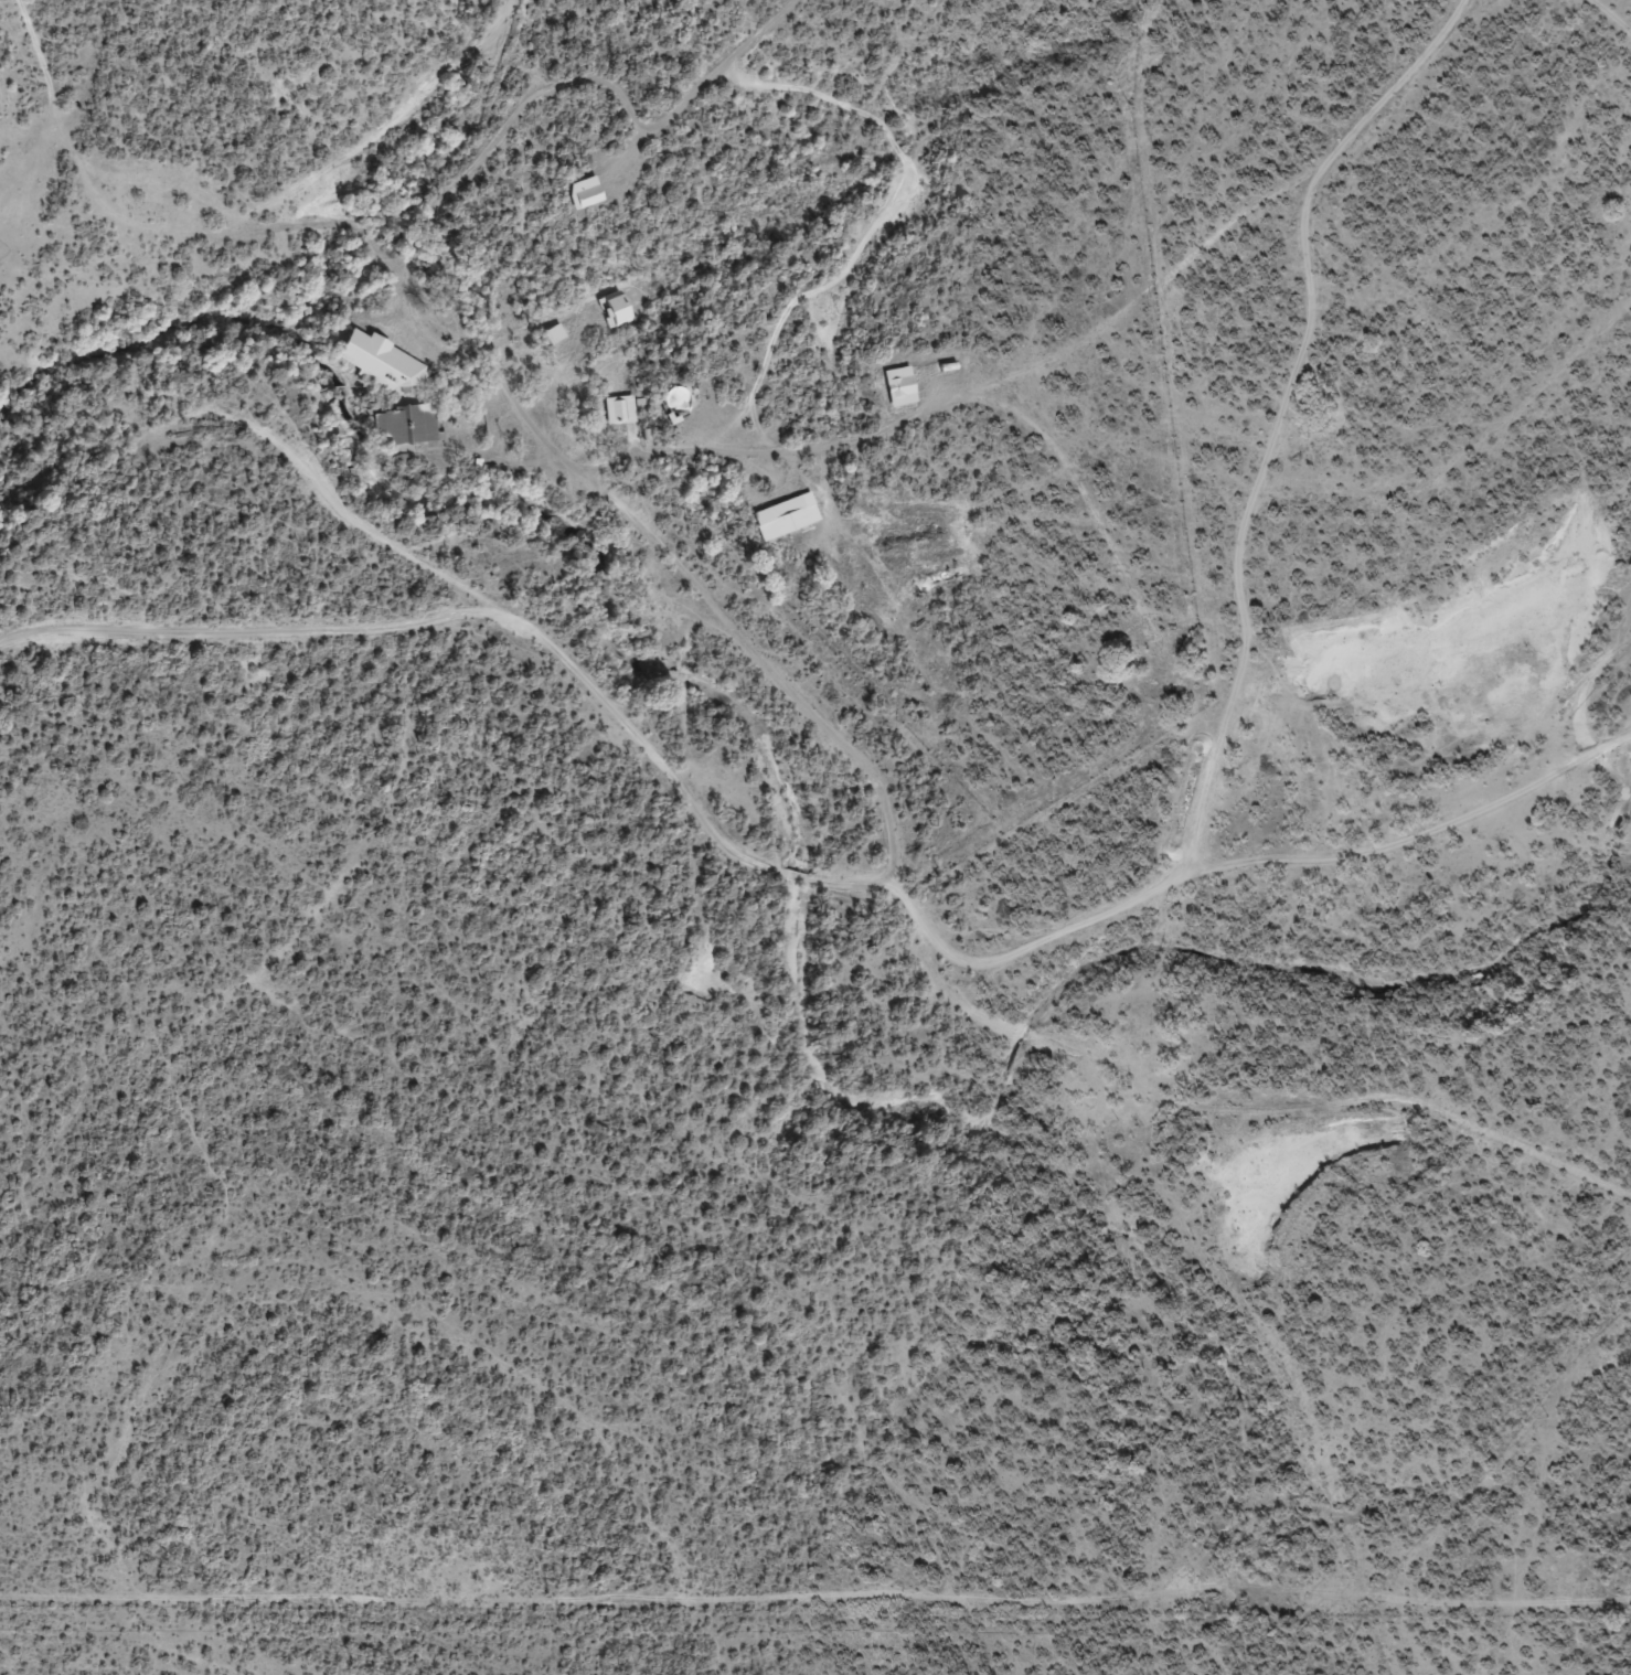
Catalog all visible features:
road: (1617, 9)
building: (580, 191)
building: (611, 309)
road: (1126, 349)
building: (373, 359)
building: (895, 385)
building: (618, 408)
building: (783, 514)
road: (725, 660)
road: (745, 883)
road: (865, 1052)

